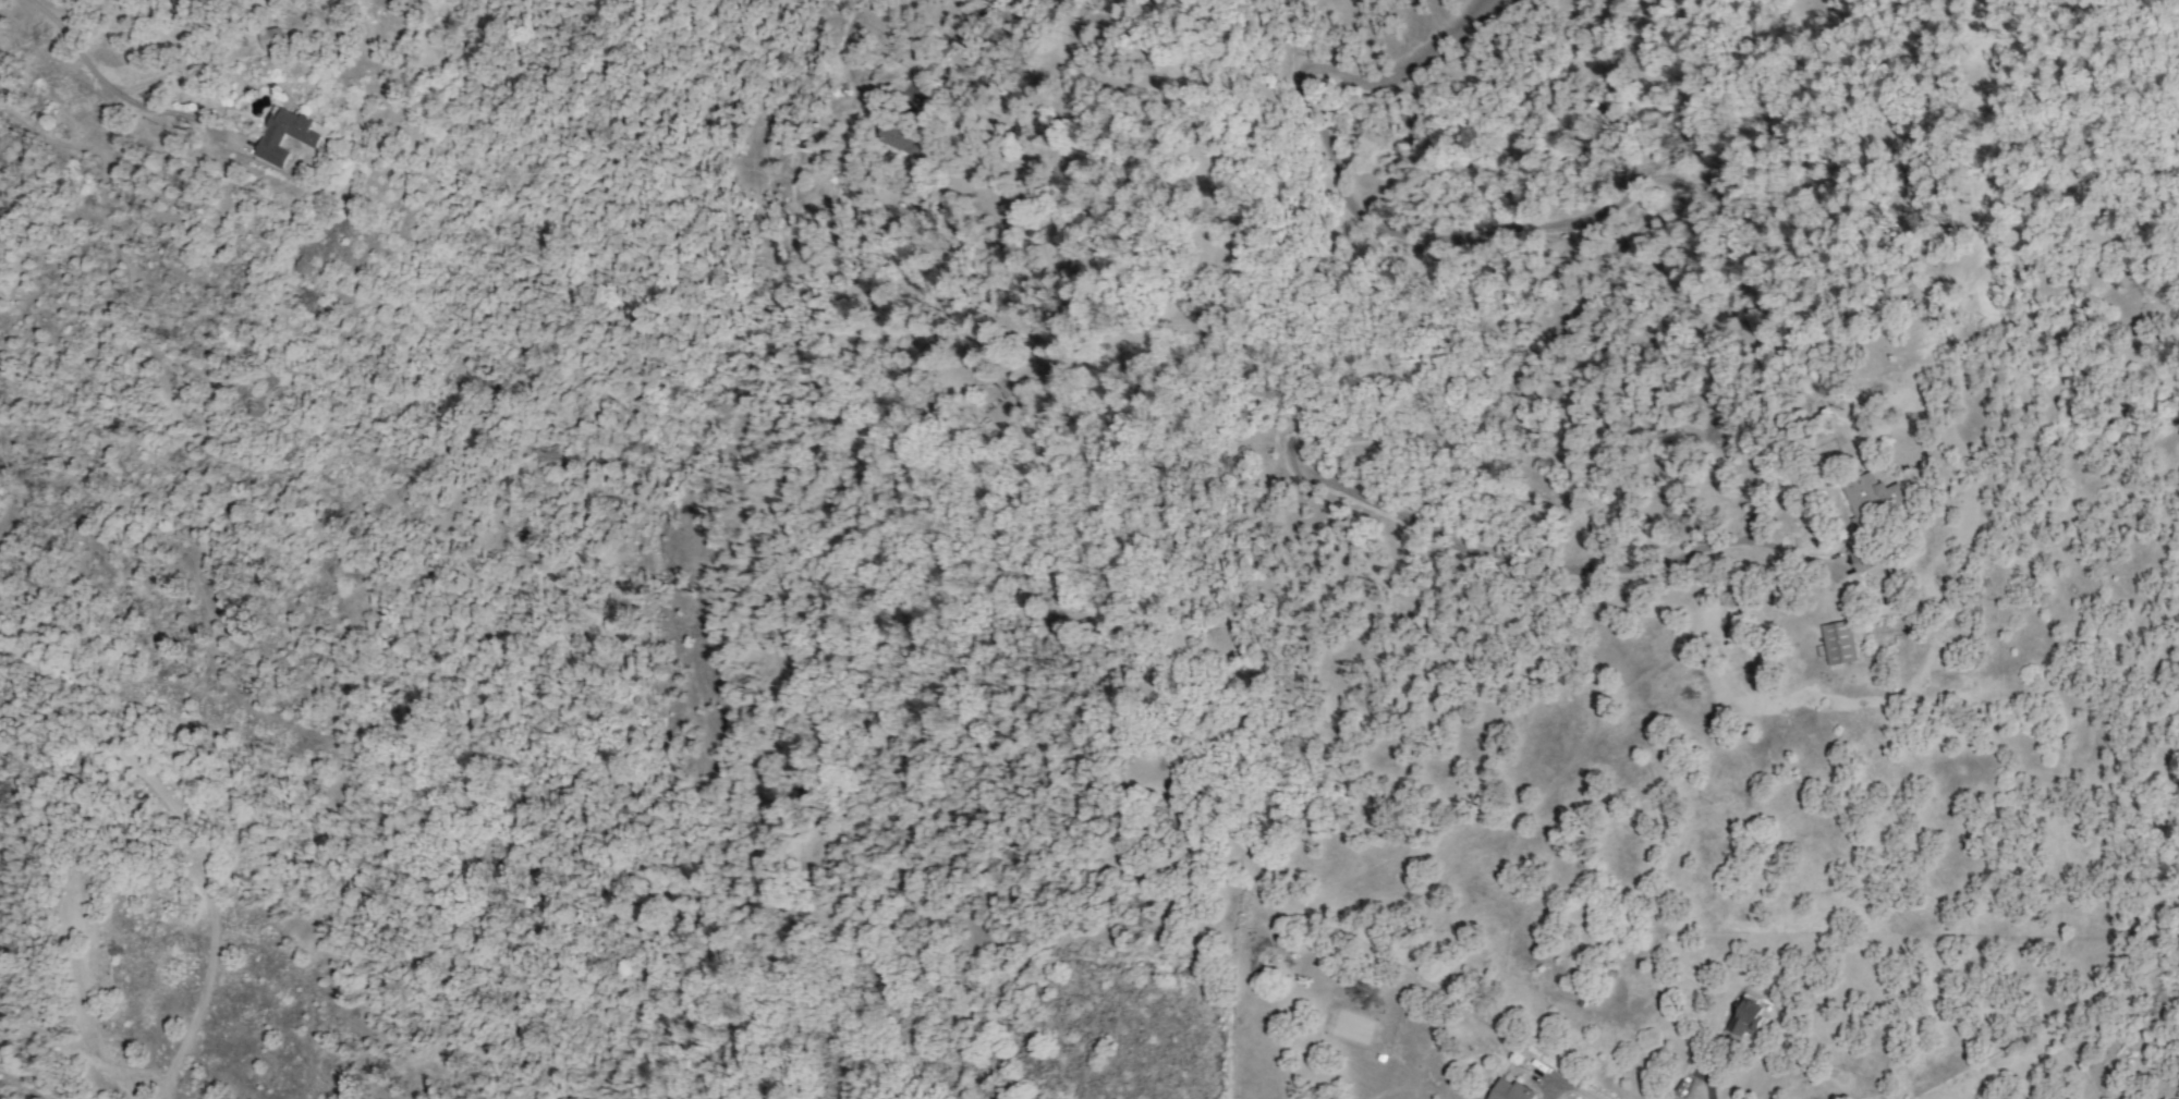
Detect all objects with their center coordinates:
building: (270, 38)
road: (948, 40)
road: (97, 77)
building: (898, 139)
building: (307, 141)
road: (54, 142)
building: (1870, 498)
building: (1859, 558)
building: (1837, 643)
building: (1746, 1016)
road: (1707, 1087)
road: (1574, 1089)
building: (1510, 1090)

